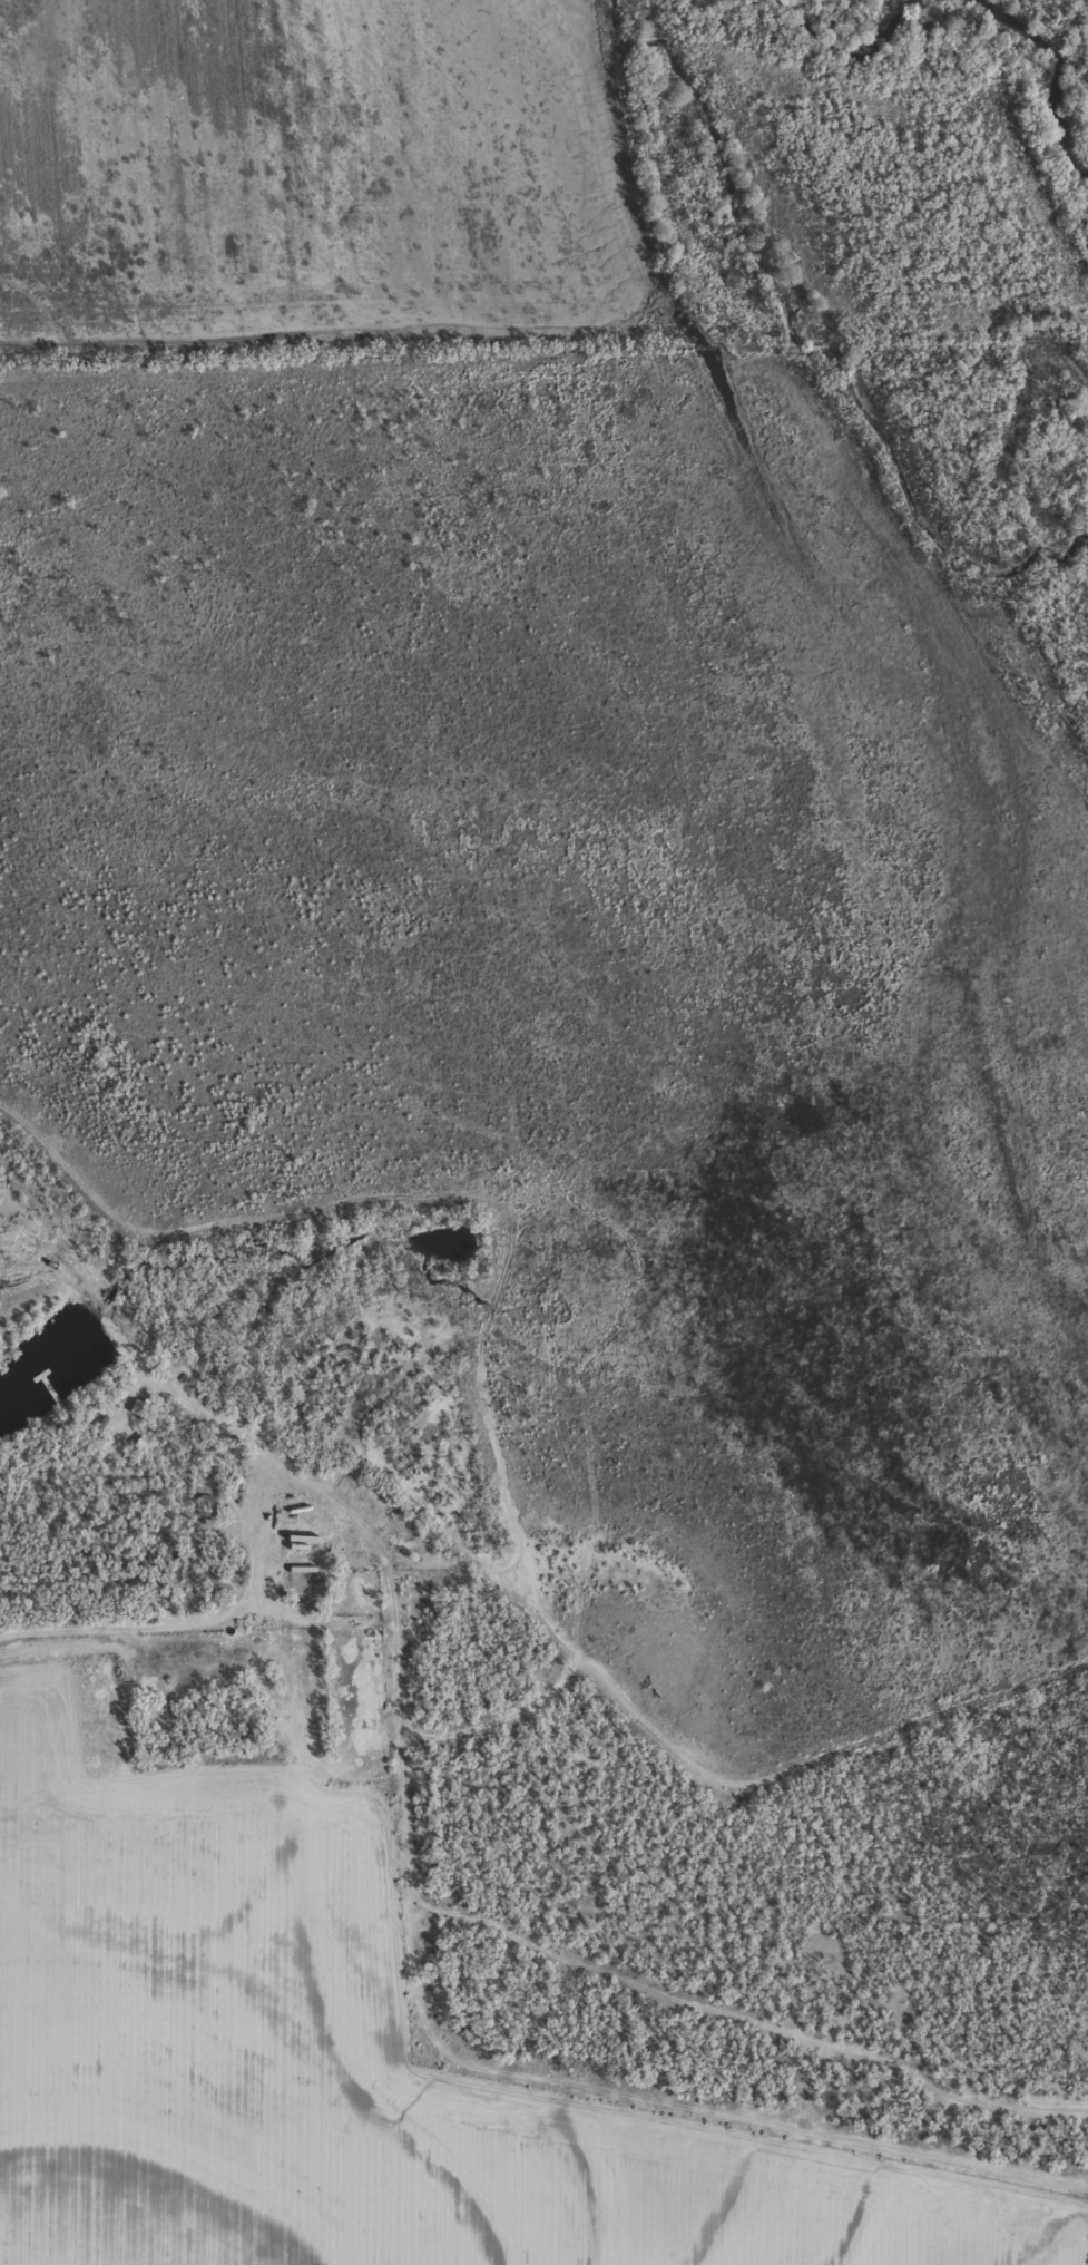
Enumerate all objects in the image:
road: (531, 1244)
road: (496, 2005)

